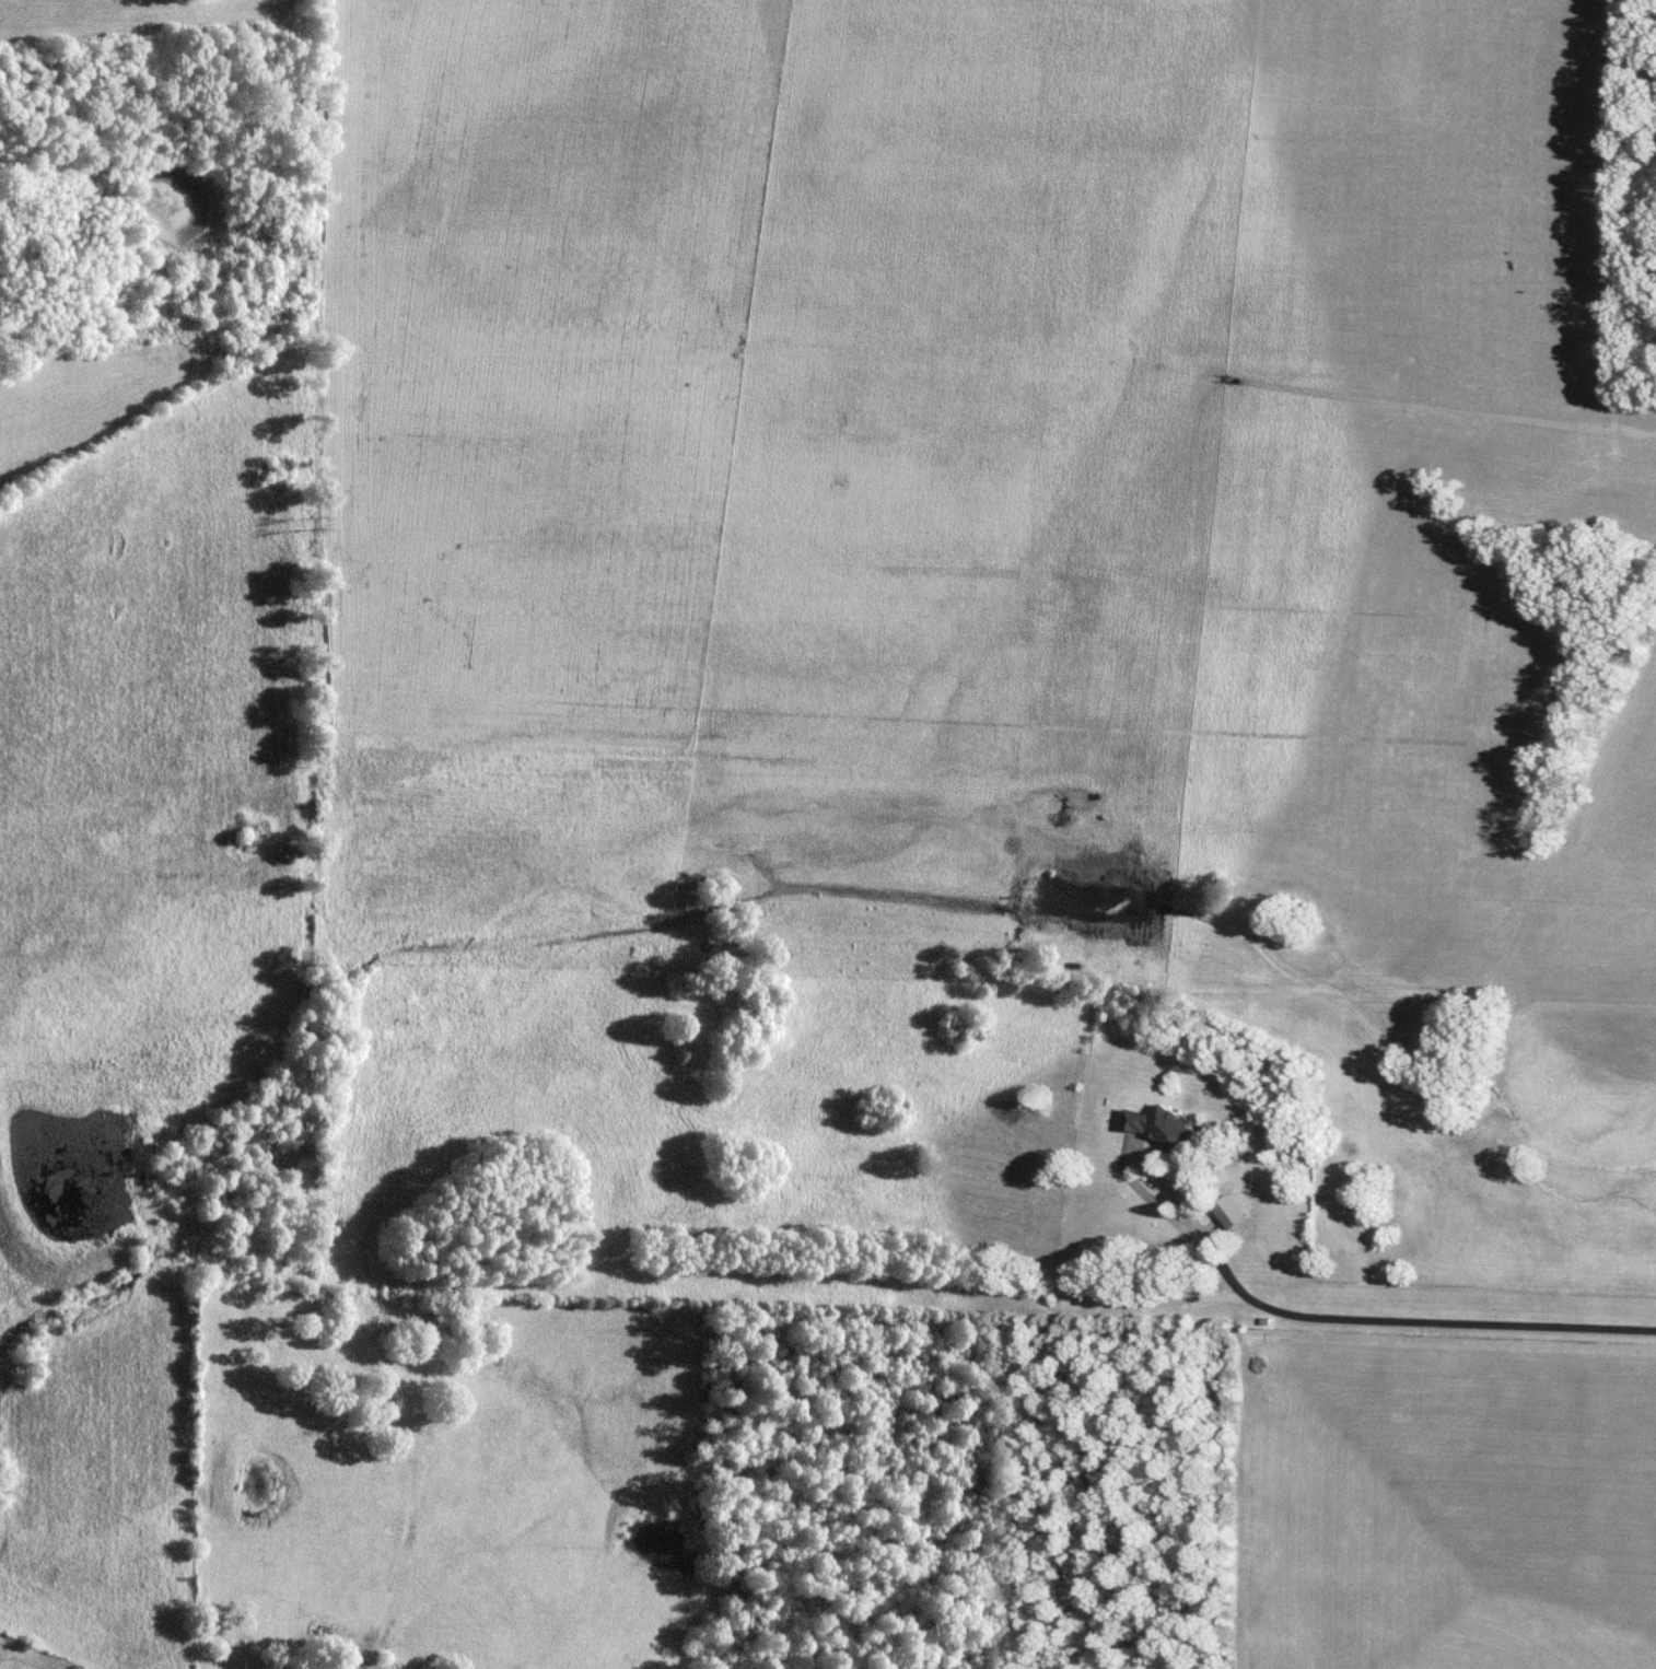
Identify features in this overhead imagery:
building: (1168, 1129)
road: (1124, 1163)
road: (1411, 1322)

